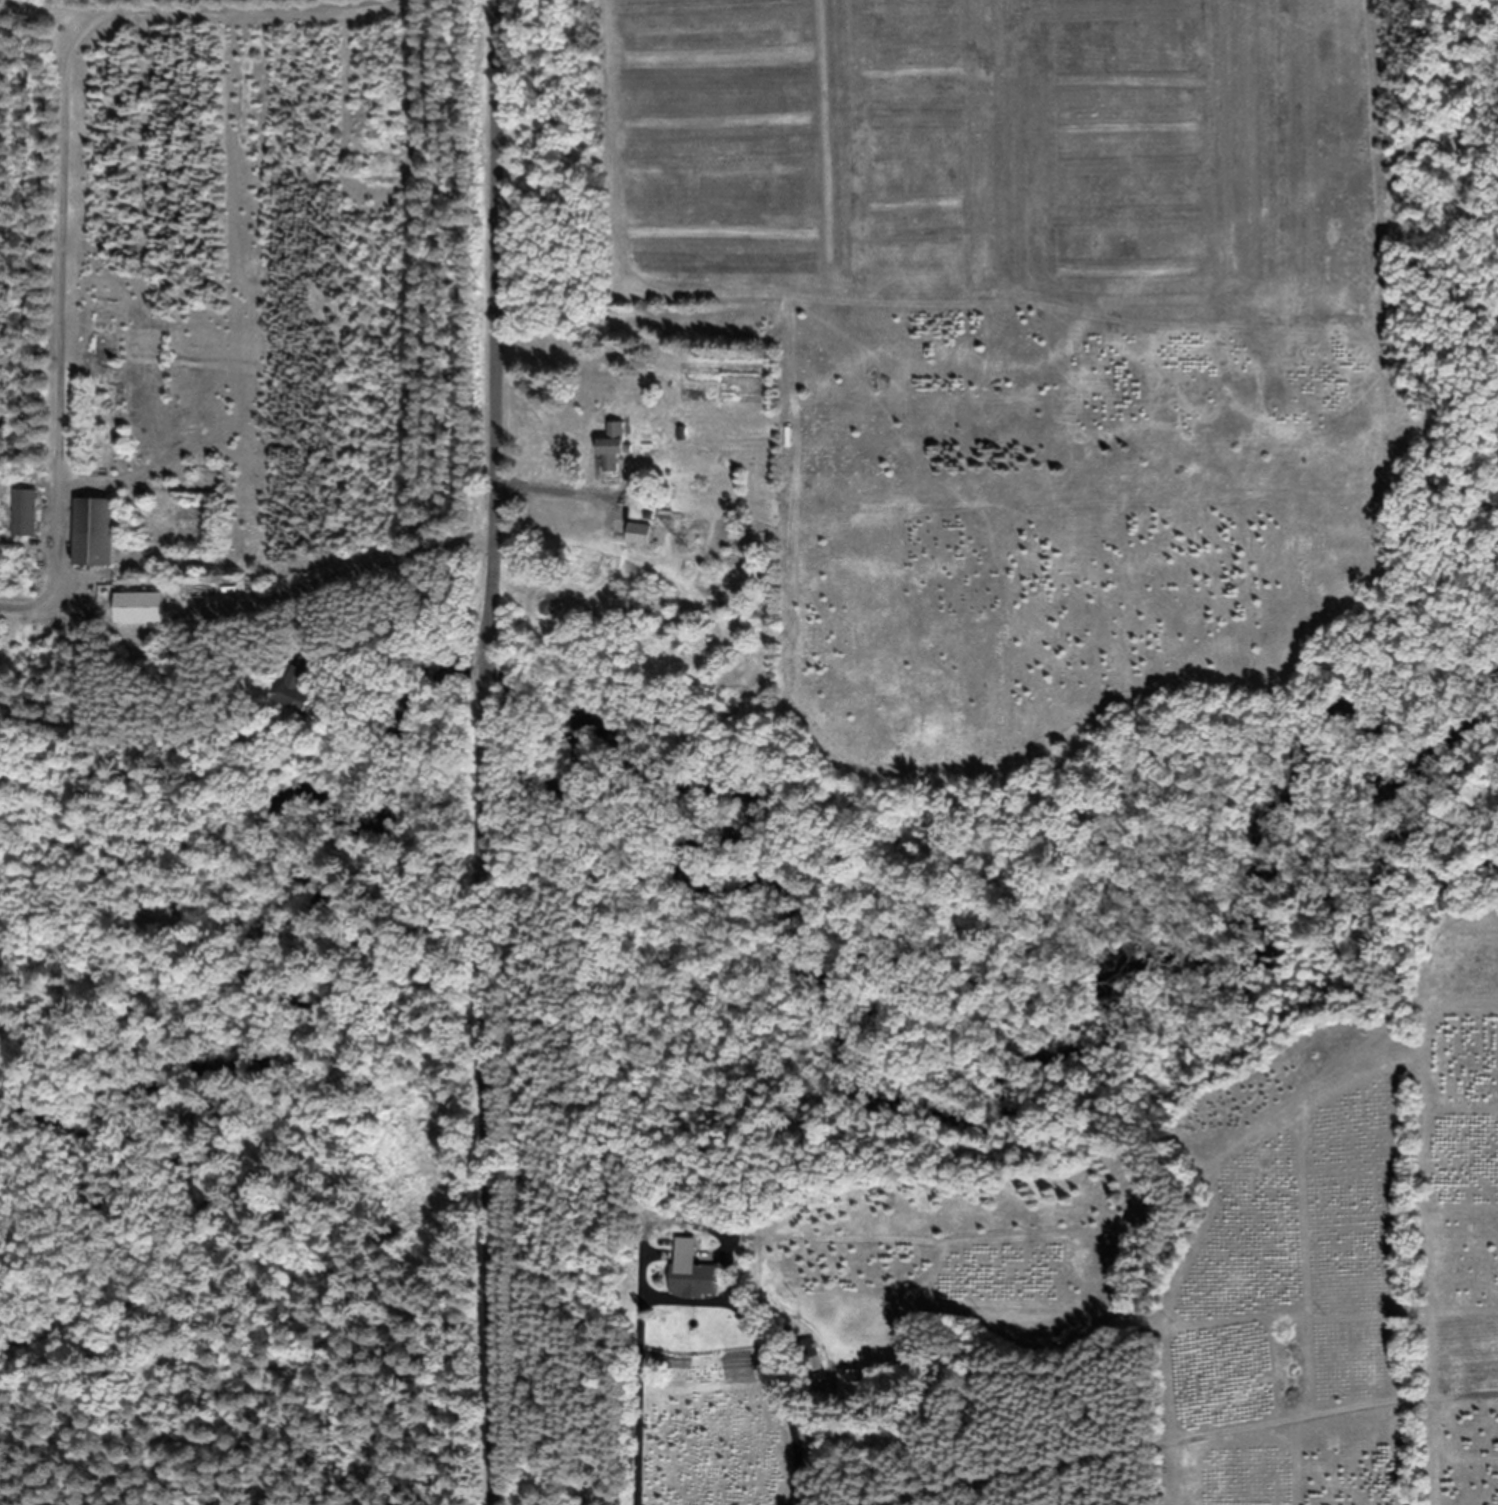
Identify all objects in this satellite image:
building: (682, 432)
building: (697, 435)
building: (613, 446)
building: (134, 498)
building: (26, 511)
building: (666, 513)
building: (651, 514)
building: (96, 530)
building: (640, 532)
building: (142, 606)
building: (300, 688)
road: (487, 752)
building: (693, 1273)
building: (809, 1354)
building: (849, 1382)

